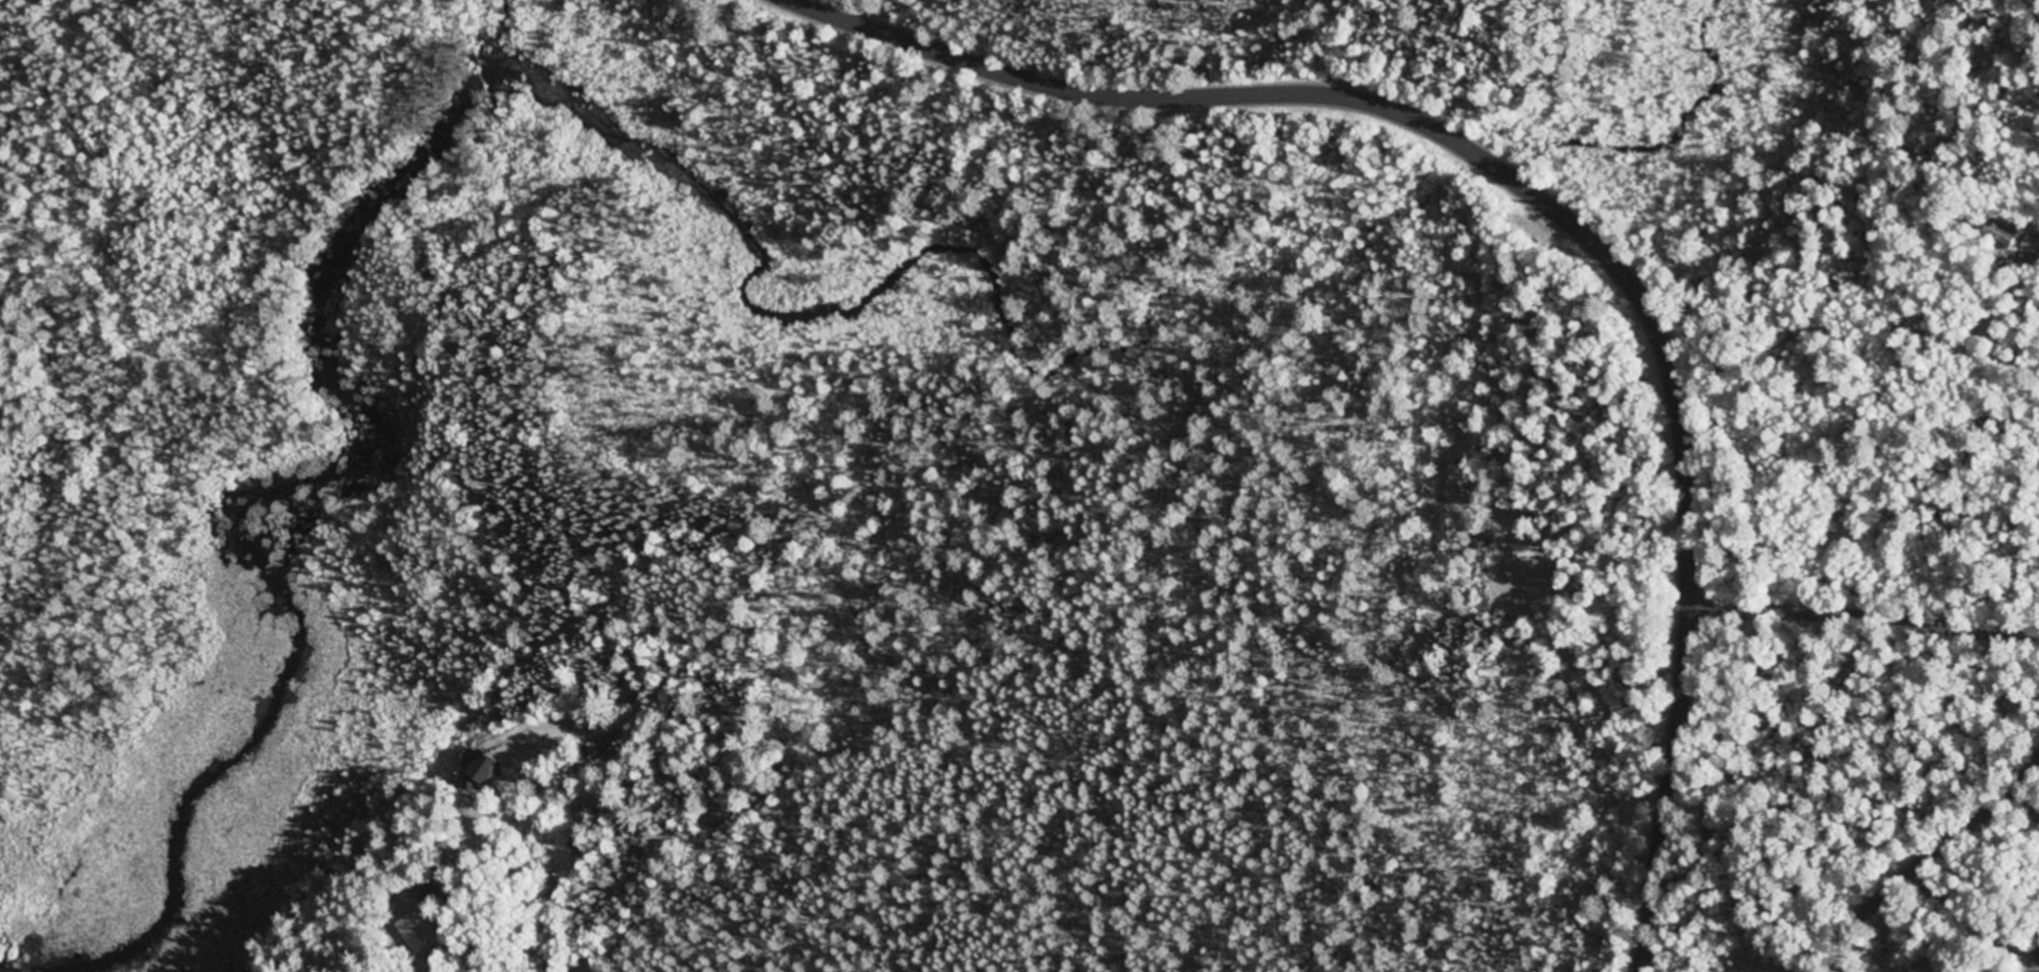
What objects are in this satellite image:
road: (1567, 212)
building: (2002, 236)
road: (1866, 618)
building: (492, 770)
road: (1922, 856)
road: (482, 929)
building: (420, 932)
building: (2038, 955)

